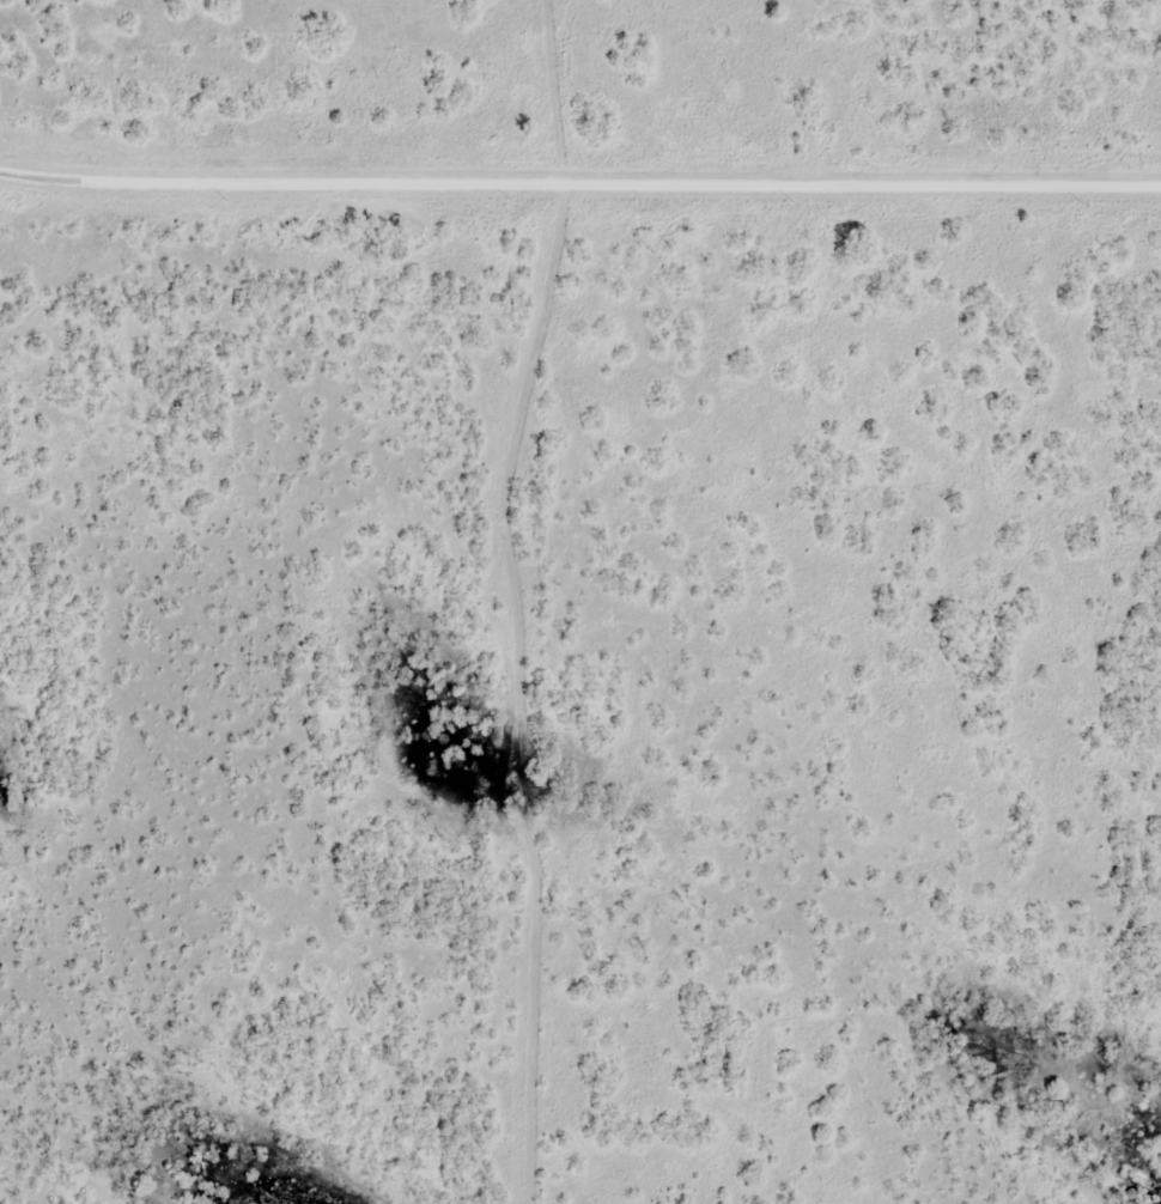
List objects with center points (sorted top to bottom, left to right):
road: (580, 190)

